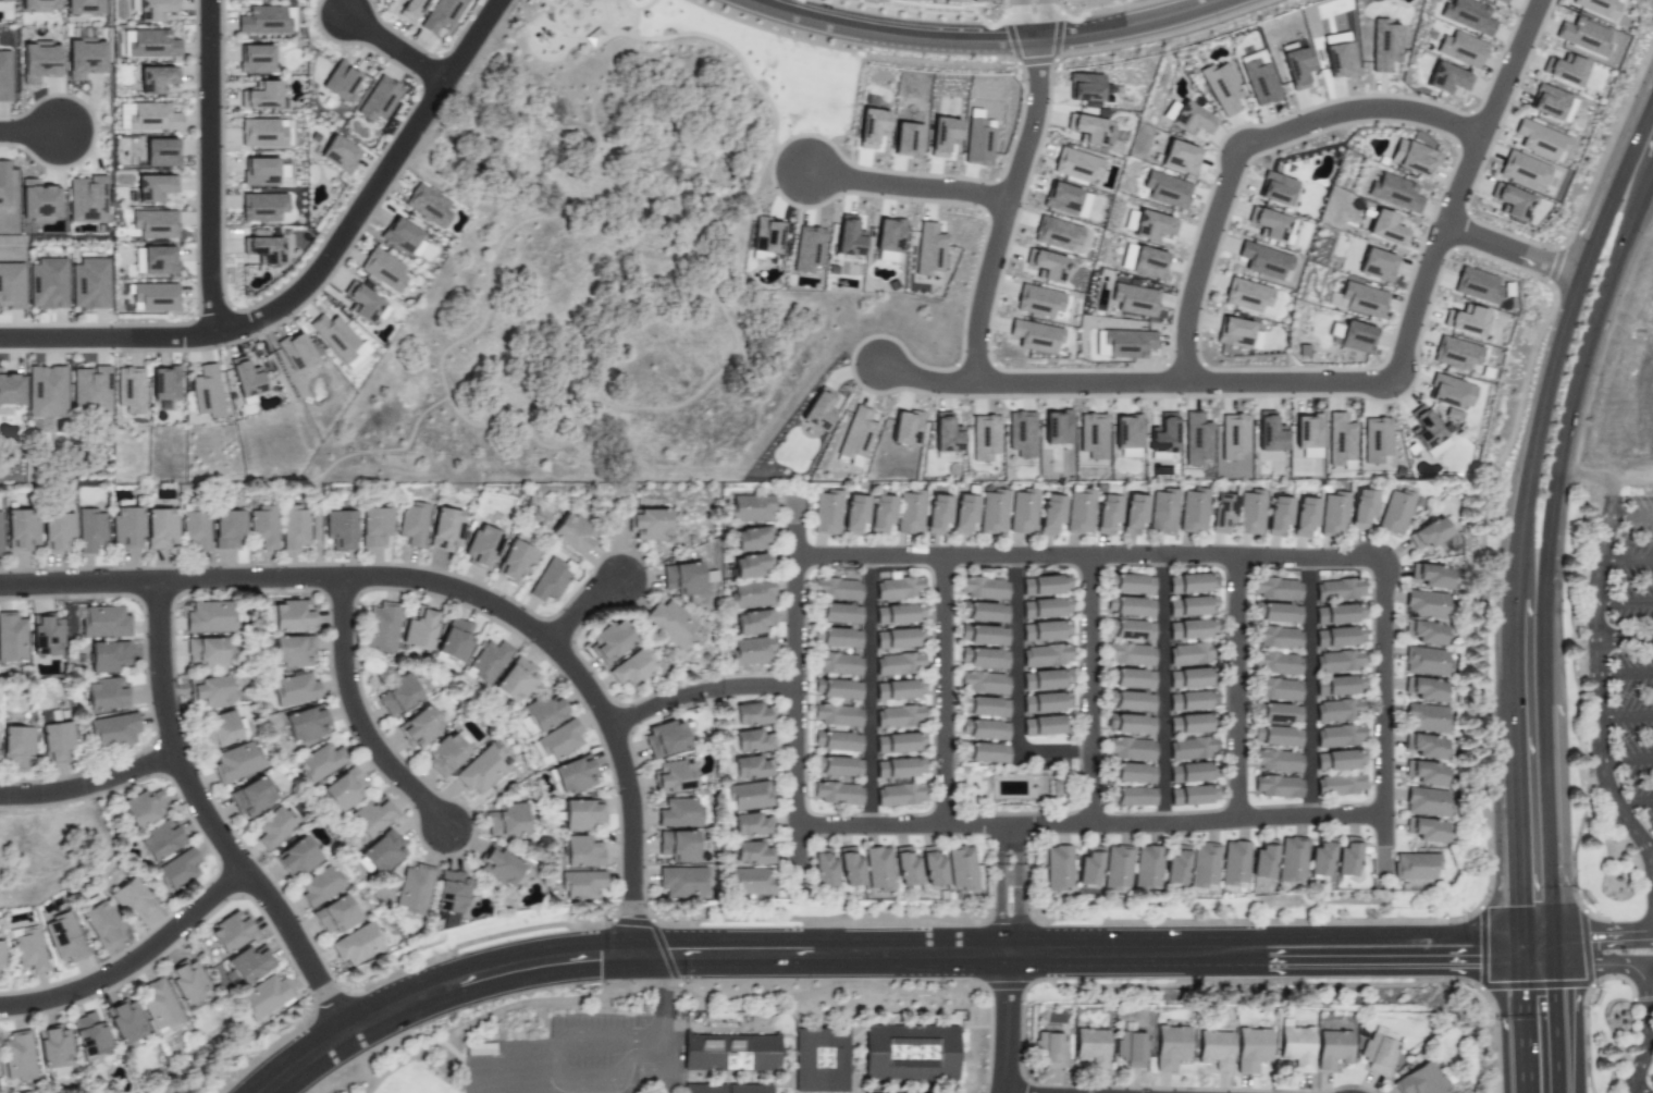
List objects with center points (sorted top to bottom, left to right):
building: (4, 0)
building: (923, 0)
building: (980, 0)
building: (952, 1)
building: (1498, 1)
building: (38, 5)
building: (1596, 8)
street lamp: (1098, 9)
building: (153, 10)
building: (409, 10)
street lamp: (904, 14)
street lamp: (312, 15)
building: (441, 15)
building: (1467, 16)
street lamp: (1506, 16)
road: (1033, 20)
building: (264, 21)
street lamp: (1216, 24)
street lamp: (192, 25)
street lamp: (786, 35)
building: (1582, 36)
building: (1334, 38)
road: (984, 40)
building: (151, 45)
building: (1383, 45)
road: (393, 48)
building: (1460, 49)
building: (84, 58)
building: (254, 59)
building: (1339, 61)
building: (38, 62)
street lamp: (1002, 62)
building: (1295, 65)
building: (1564, 71)
building: (4, 77)
building: (1258, 78)
building: (1446, 78)
building: (156, 79)
building: (340, 81)
building: (1084, 87)
building: (1220, 88)
building: (259, 96)
building: (378, 100)
street lamp: (1471, 102)
street lamp: (449, 103)
building: (1551, 103)
street lamp: (224, 114)
building: (147, 116)
building: (1188, 119)
building: (1086, 128)
building: (871, 130)
road: (28, 132)
building: (262, 133)
building: (942, 136)
street lamp: (786, 137)
building: (905, 140)
building: (1539, 140)
building: (978, 142)
road: (1239, 144)
building: (160, 152)
building: (338, 155)
street lamp: (375, 156)
building: (1179, 158)
building: (1411, 158)
building: (1074, 165)
road: (207, 168)
street lamp: (1040, 170)
building: (1521, 170)
building: (258, 172)
building: (3, 183)
building: (152, 187)
road: (908, 187)
building: (1165, 189)
building: (1275, 189)
building: (1394, 193)
street lamp: (1429, 194)
building: (85, 199)
building: (36, 200)
building: (1065, 200)
building: (1510, 201)
building: (427, 206)
building: (261, 207)
road: (1006, 211)
street lamp: (914, 214)
building: (153, 224)
building: (1270, 226)
building: (1154, 228)
building: (1385, 229)
building: (1056, 234)
building: (398, 236)
building: (764, 237)
building: (847, 237)
building: (888, 240)
street lamp: (192, 241)
building: (262, 249)
building: (806, 249)
building: (928, 249)
park: (596, 250)
road: (1510, 251)
building: (153, 260)
building: (1263, 261)
building: (1147, 263)
building: (1376, 265)
building: (1045, 266)
building: (382, 270)
road: (312, 275)
street lamp: (1013, 275)
building: (47, 284)
building: (89, 284)
building: (11, 286)
building: (1476, 286)
street lamp: (320, 292)
building: (1245, 295)
street lamp: (1445, 296)
building: (153, 298)
building: (1134, 300)
building: (1358, 300)
building: (1037, 302)
building: (365, 305)
building: (1465, 321)
street lamp: (111, 323)
street lamp: (850, 330)
building: (1236, 334)
building: (1034, 336)
building: (1352, 336)
building: (337, 341)
road: (1558, 343)
building: (1123, 344)
street lamp: (217, 351)
building: (294, 351)
building: (1455, 354)
street lamp: (1087, 359)
street lamp: (1295, 364)
building: (244, 379)
road: (925, 382)
building: (163, 384)
road: (1392, 388)
building: (89, 390)
building: (129, 390)
building: (10, 391)
building: (45, 392)
building: (206, 392)
building: (1451, 395)
street lamp: (1415, 404)
street lamp: (966, 413)
building: (905, 428)
building: (1056, 428)
building: (1423, 429)
road: (1564, 430)
building: (1307, 431)
building: (1268, 432)
building: (945, 434)
building: (1021, 434)
building: (1091, 435)
building: (1126, 435)
building: (855, 437)
building: (1233, 437)
building: (984, 438)
building: (1162, 439)
building: (1196, 439)
building: (1376, 440)
building: (1340, 442)
road: (1601, 478)
building: (750, 508)
building: (1361, 508)
building: (1080, 511)
building: (1193, 511)
building: (992, 512)
building: (1022, 512)
building: (1162, 512)
building: (826, 513)
building: (910, 513)
building: (1107, 513)
building: (1221, 513)
building: (1250, 513)
building: (1394, 513)
building: (853, 514)
building: (880, 514)
building: (937, 514)
building: (963, 514)
building: (1050, 514)
building: (1134, 514)
building: (1278, 515)
building: (1332, 515)
building: (1304, 516)
road: (1630, 518)
building: (412, 524)
building: (650, 525)
building: (126, 527)
building: (262, 527)
building: (373, 527)
building: (293, 528)
building: (21, 529)
building: (159, 529)
building: (226, 529)
building: (90, 530)
building: (195, 530)
building: (338, 530)
building: (445, 530)
building: (57, 532)
building: (1428, 535)
building: (1, 536)
building: (572, 536)
building: (751, 539)
road: (794, 540)
building: (482, 548)
road: (1626, 561)
building: (514, 562)
building: (750, 565)
building: (1430, 576)
building: (682, 578)
building: (551, 580)
building: (1131, 584)
building: (1186, 584)
building: (1045, 585)
road: (448, 586)
building: (982, 588)
building: (836, 589)
building: (1274, 589)
building: (1337, 590)
building: (750, 594)
road: (1623, 603)
building: (1423, 604)
road: (579, 606)
building: (1192, 606)
building: (1045, 607)
building: (1132, 607)
building: (982, 612)
building: (837, 613)
building: (1275, 613)
building: (898, 614)
building: (1337, 614)
building: (291, 616)
building: (209, 617)
building: (751, 622)
building: (103, 623)
building: (669, 623)
building: (382, 628)
building: (419, 629)
building: (1128, 629)
building: (1191, 629)
building: (1045, 631)
building: (1423, 633)
building: (982, 635)
building: (45, 636)
building: (1274, 637)
building: (1337, 637)
building: (11, 638)
building: (835, 638)
road: (1624, 638)
building: (895, 639)
building: (609, 641)
building: (453, 643)
building: (292, 651)
building: (750, 651)
building: (206, 652)
building: (1128, 654)
building: (1188, 654)
building: (1045, 655)
building: (107, 656)
building: (982, 658)
building: (1422, 661)
building: (1337, 662)
building: (486, 663)
building: (1275, 663)
building: (837, 664)
building: (898, 664)
building: (632, 670)
road: (1624, 674)
parking lot: (1624, 675)
building: (1130, 678)
building: (1187, 678)
building: (1045, 679)
building: (514, 680)
road: (1509, 680)
building: (982, 683)
building: (1337, 685)
road: (1014, 686)
road: (1234, 687)
road: (1308, 687)
building: (295, 689)
building: (836, 689)
road: (1087, 689)
road: (1161, 689)
building: (1276, 689)
building: (1422, 689)
road: (867, 690)
building: (899, 690)
road: (941, 690)
building: (210, 691)
road: (698, 691)
building: (106, 695)
building: (398, 696)
building: (1128, 701)
building: (1187, 701)
building: (1040, 703)
building: (983, 707)
building: (1339, 710)
building: (542, 712)
building: (1278, 714)
building: (751, 715)
building: (836, 715)
road: (356, 716)
building: (899, 717)
road: (1624, 717)
building: (1423, 719)
building: (305, 724)
building: (1187, 724)
building: (1133, 725)
building: (1041, 726)
building: (420, 727)
building: (983, 729)
building: (112, 730)
building: (218, 730)
building: (1275, 736)
building: (1339, 736)
building: (665, 739)
building: (54, 741)
building: (751, 741)
building: (836, 741)
building: (555, 742)
building: (899, 742)
building: (15, 747)
building: (1423, 747)
building: (1128, 749)
building: (1188, 749)
building: (448, 752)
building: (983, 752)
building: (1339, 760)
road: (1626, 760)
building: (1275, 761)
building: (321, 762)
building: (236, 763)
building: (836, 766)
building: (899, 767)
building: (751, 769)
building: (479, 771)
building: (1132, 773)
building: (1188, 773)
building: (1423, 773)
building: (571, 775)
building: (674, 777)
road: (1604, 782)
road: (88, 784)
building: (1339, 785)
building: (1274, 786)
building: (344, 789)
building: (836, 794)
building: (1193, 795)
building: (748, 796)
building: (898, 796)
building: (250, 797)
building: (1130, 797)
building: (1426, 802)
road: (1633, 802)
building: (143, 808)
building: (679, 813)
building: (580, 815)
road: (1376, 815)
building: (370, 818)
road: (1546, 819)
building: (505, 821)
road: (208, 822)
building: (751, 825)
building: (274, 828)
building: (1423, 830)
road: (1382, 831)
building: (159, 840)
road: (1648, 845)
building: (678, 846)
road: (795, 846)
road: (999, 851)
road: (1019, 851)
building: (382, 852)
building: (581, 852)
building: (752, 853)
building: (1319, 857)
building: (296, 858)
building: (1346, 858)
building: (1262, 860)
building: (1290, 860)
road: (1516, 862)
building: (1233, 863)
building: (1202, 865)
building: (497, 867)
building: (1175, 867)
building: (1413, 867)
building: (849, 868)
building: (932, 868)
building: (1057, 868)
building: (1088, 868)
building: (1146, 868)
building: (822, 869)
building: (877, 869)
building: (905, 869)
building: (961, 869)
building: (1115, 869)
building: (176, 871)
road: (1009, 877)
building: (682, 882)
building: (750, 882)
building: (580, 884)
building: (320, 886)
building: (412, 889)
building: (449, 893)
building: (133, 900)
traffic signals: (1518, 907)
building: (334, 914)
road: (999, 914)
traffic signals: (632, 916)
road: (1020, 916)
building: (100, 923)
building: (230, 932)
traffic signals: (1592, 933)
road: (1534, 934)
road: (1392, 936)
building: (62, 938)
building: (356, 945)
road: (1243, 945)
road: (1551, 948)
building: (27, 949)
road: (940, 953)
road: (646, 955)
traffic signals: (670, 955)
traffic signals: (599, 957)
road: (132, 960)
road: (1369, 961)
traffic signals: (1473, 961)
road: (1535, 962)
building: (0, 963)
road: (1641, 965)
building: (249, 966)
building: (186, 982)
road: (434, 990)
road: (1642, 990)
traffic signals: (1553, 995)
building: (262, 997)
building: (158, 1004)
road: (1006, 1022)
road: (661, 1023)
road: (1522, 1027)
road: (1554, 1028)
building: (89, 1035)
road: (594, 1036)
building: (1170, 1046)
building: (52, 1047)
building: (1091, 1047)
building: (1295, 1047)
road: (645, 1048)
building: (1049, 1048)
building: (1130, 1048)
building: (1250, 1048)
building: (1332, 1048)
building: (1214, 1049)
building: (1378, 1051)
building: (16, 1055)
building: (733, 1055)
building: (914, 1055)
road: (493, 1061)
building: (823, 1063)
road: (545, 1076)
building: (1419, 1079)
road: (590, 1083)
road: (534, 1084)
park: (333, 1085)
building: (707, 1090)
building: (752, 1090)
road: (1628, 1092)

